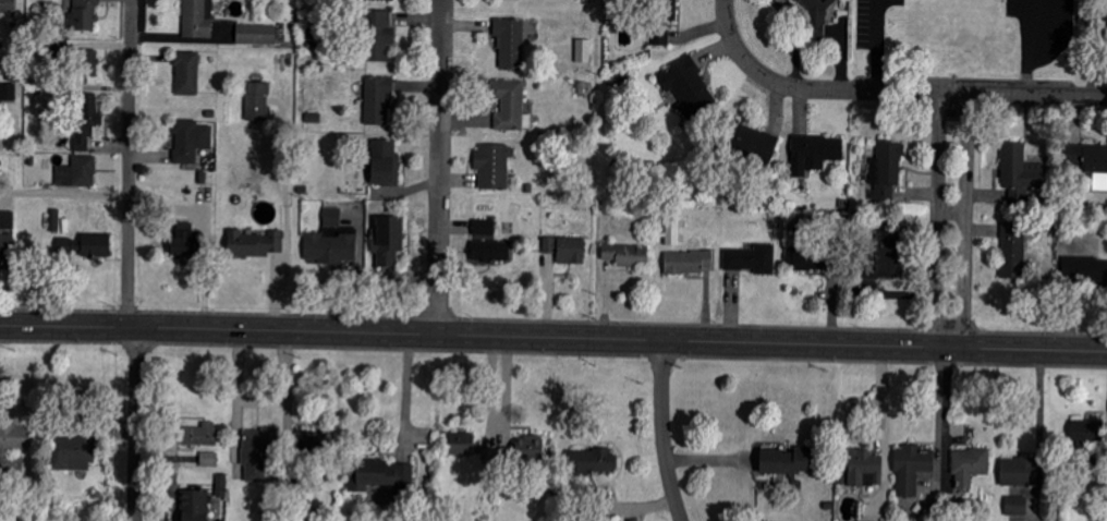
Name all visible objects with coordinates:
building: (392, 0)
building: (8, 5)
building: (85, 14)
building: (817, 16)
building: (197, 19)
building: (664, 20)
building: (380, 34)
building: (257, 35)
road: (1051, 37)
building: (510, 41)
road: (875, 45)
road: (1025, 47)
building: (584, 50)
road: (738, 51)
building: (87, 62)
building: (187, 73)
building: (689, 86)
building: (8, 93)
road: (942, 93)
building: (378, 100)
building: (258, 102)
building: (511, 106)
building: (86, 118)
building: (191, 141)
building: (753, 143)
building: (815, 153)
building: (1088, 160)
road: (129, 163)
building: (385, 163)
building: (495, 165)
road: (440, 168)
building: (78, 172)
building: (1020, 172)
building: (884, 175)
road: (64, 194)
building: (332, 217)
road: (951, 221)
building: (484, 227)
building: (183, 239)
building: (388, 240)
building: (254, 243)
building: (7, 244)
building: (85, 246)
building: (330, 249)
building: (567, 249)
building: (490, 251)
building: (1014, 251)
building: (627, 255)
building: (886, 255)
building: (807, 258)
building: (752, 259)
building: (689, 263)
building: (1084, 270)
road: (553, 338)
road: (405, 392)
road: (287, 393)
road: (235, 395)
road: (263, 401)
road: (942, 408)
road: (936, 411)
road: (136, 424)
building: (1086, 431)
road: (662, 432)
building: (200, 435)
road: (497, 438)
building: (308, 444)
building: (455, 444)
building: (13, 448)
building: (530, 449)
building: (73, 452)
building: (258, 452)
building: (209, 460)
building: (593, 461)
building: (786, 461)
building: (970, 468)
building: (865, 469)
building: (913, 469)
building: (1021, 471)
building: (385, 475)
building: (222, 485)
building: (194, 506)
building: (1017, 506)

